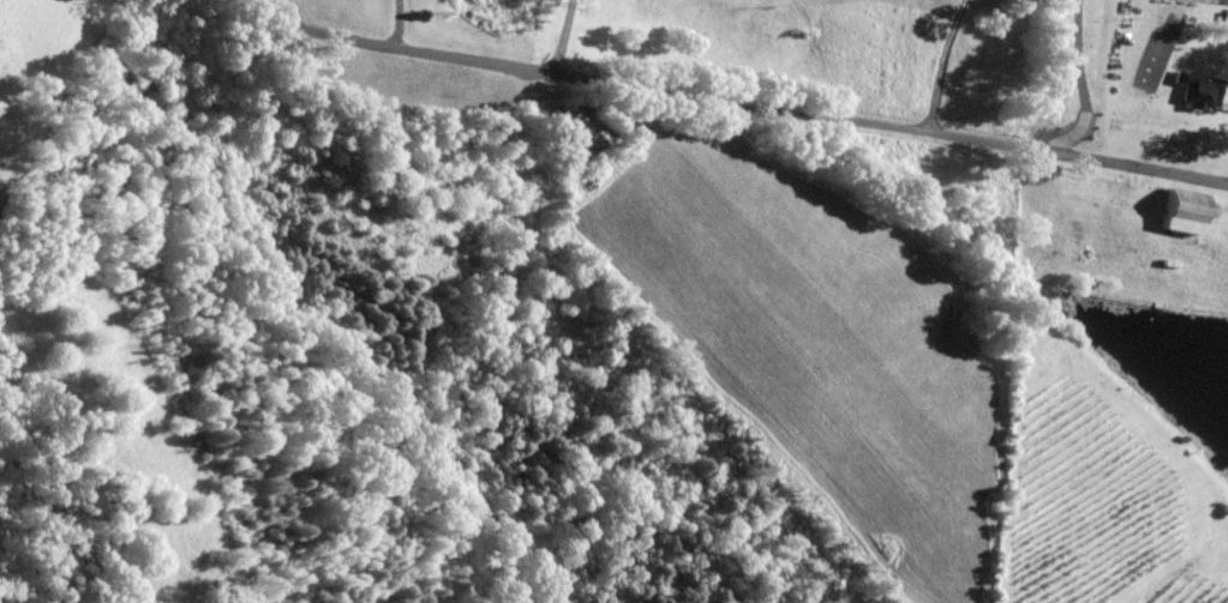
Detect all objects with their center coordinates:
road: (399, 24)
road: (561, 36)
road: (953, 67)
road: (1083, 84)
building: (1199, 90)
road: (735, 109)
building: (1185, 212)

